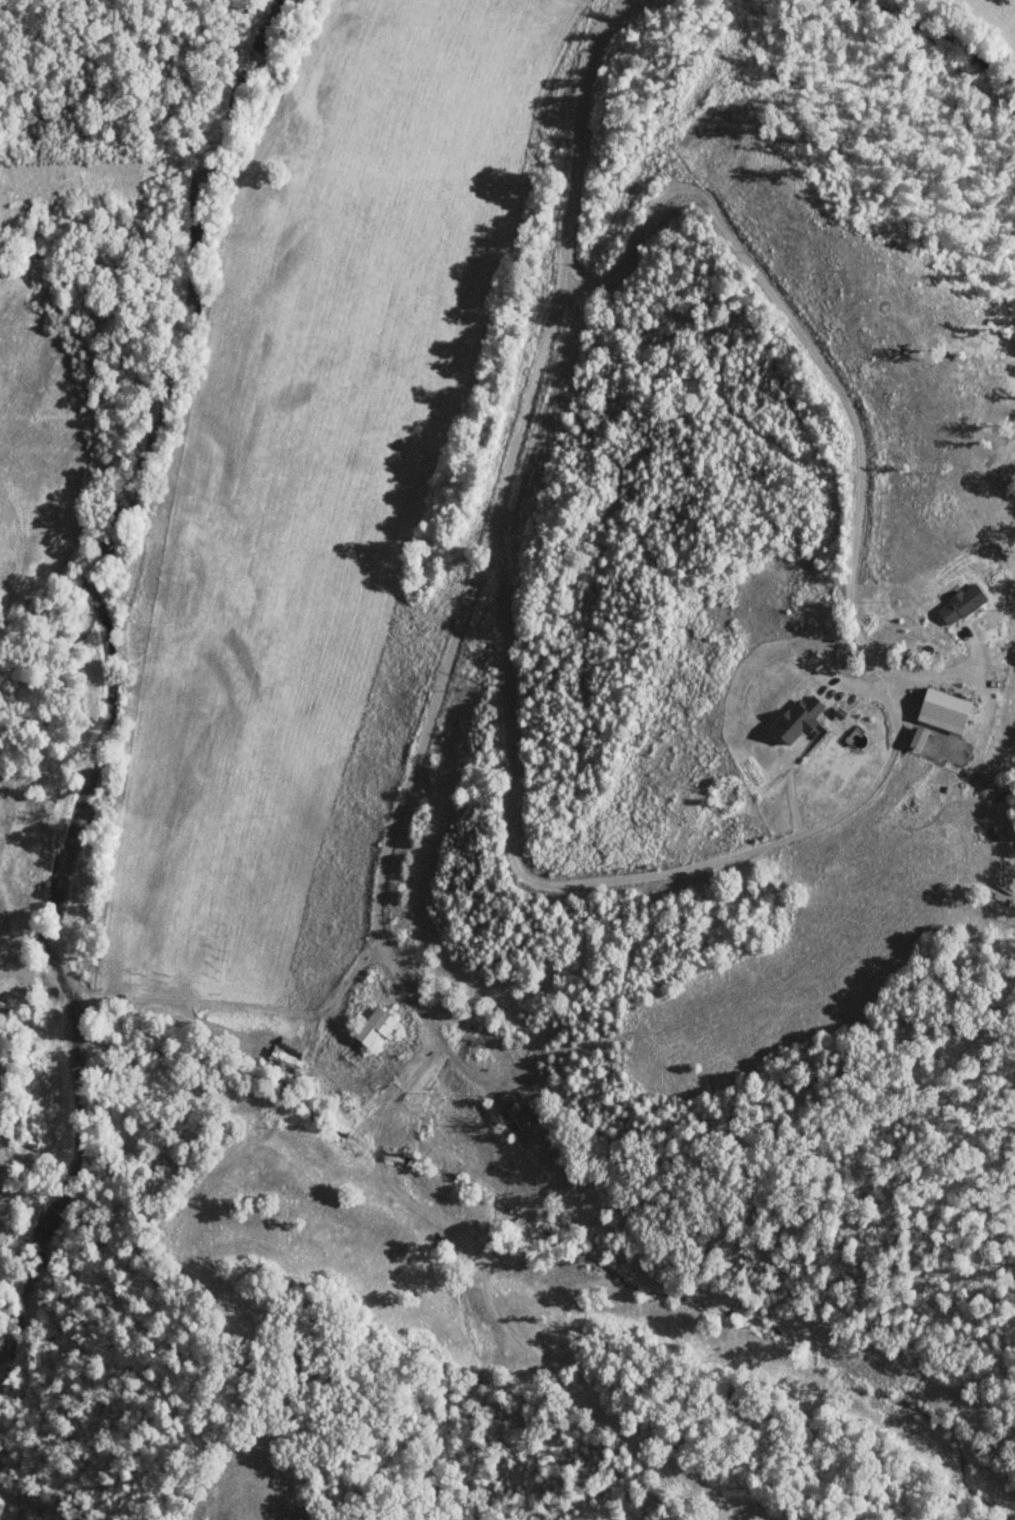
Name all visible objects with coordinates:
road: (510, 455)
building: (963, 604)
building: (935, 691)
building: (800, 720)
building: (379, 1026)
building: (524, 1115)

